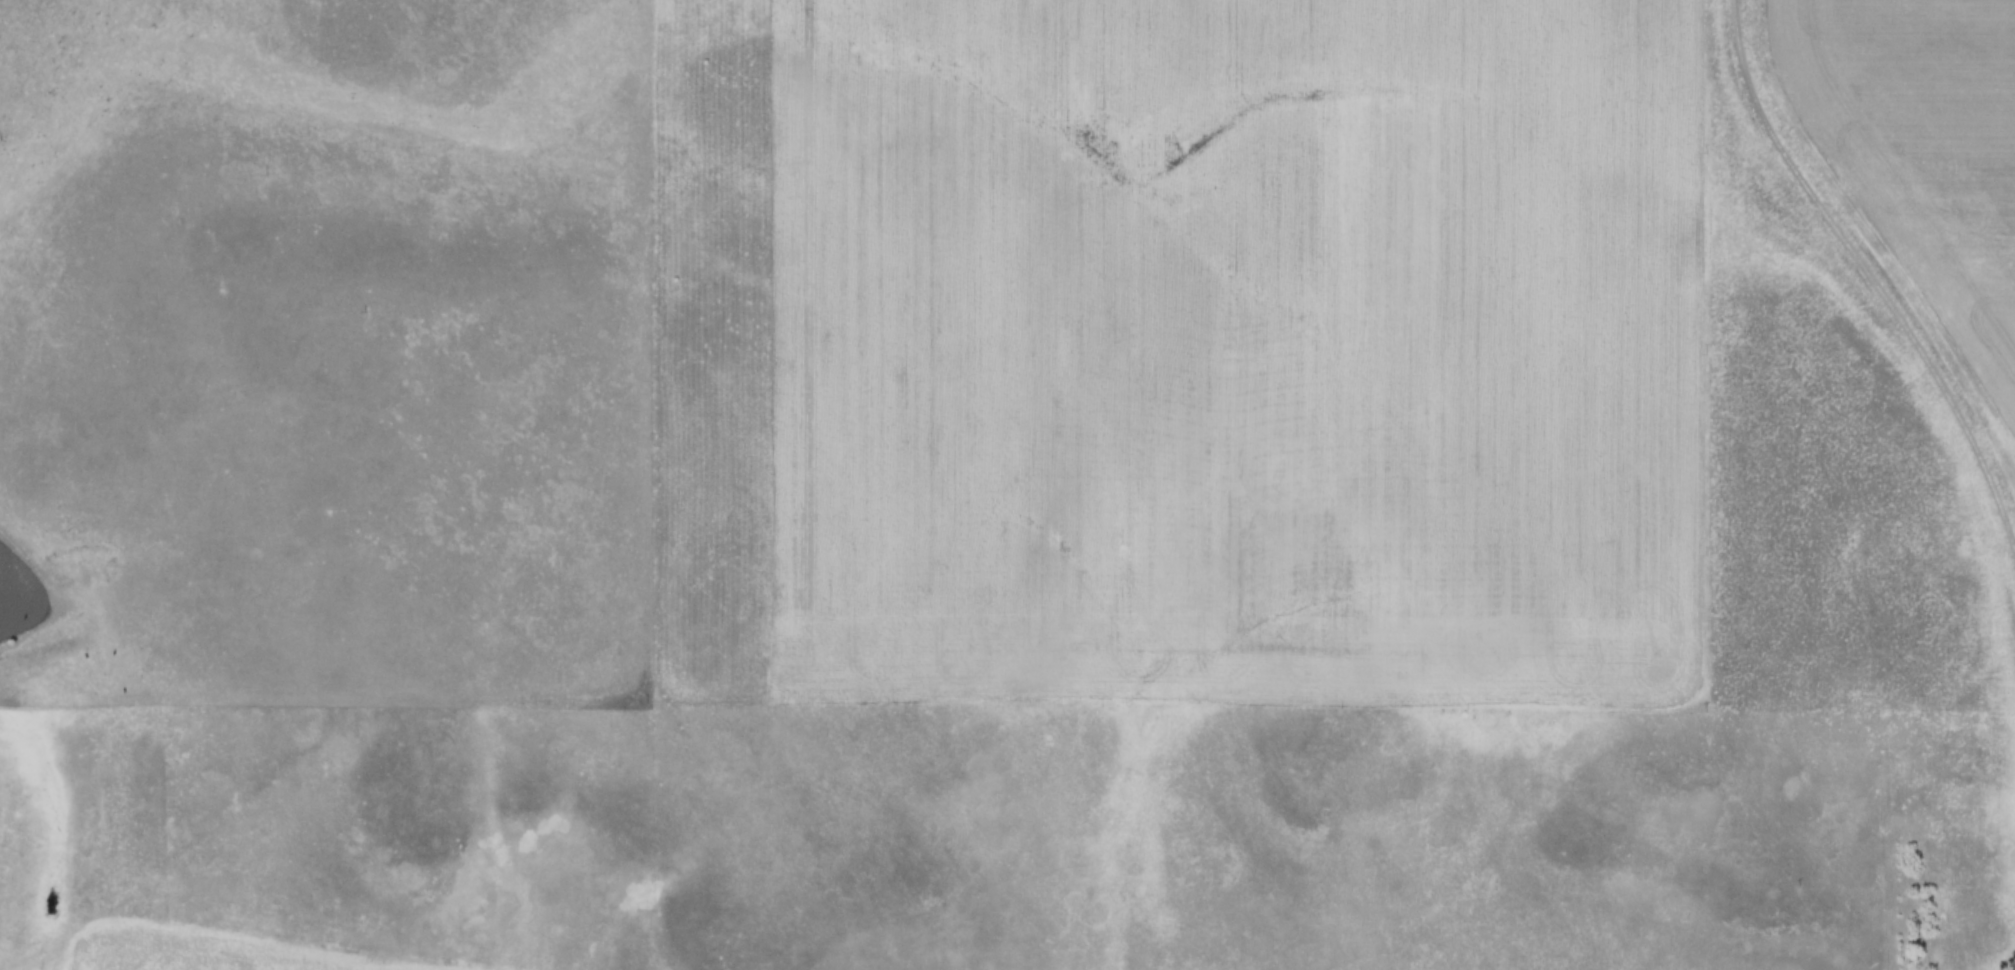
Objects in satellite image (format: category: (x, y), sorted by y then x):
road: (1872, 269)

